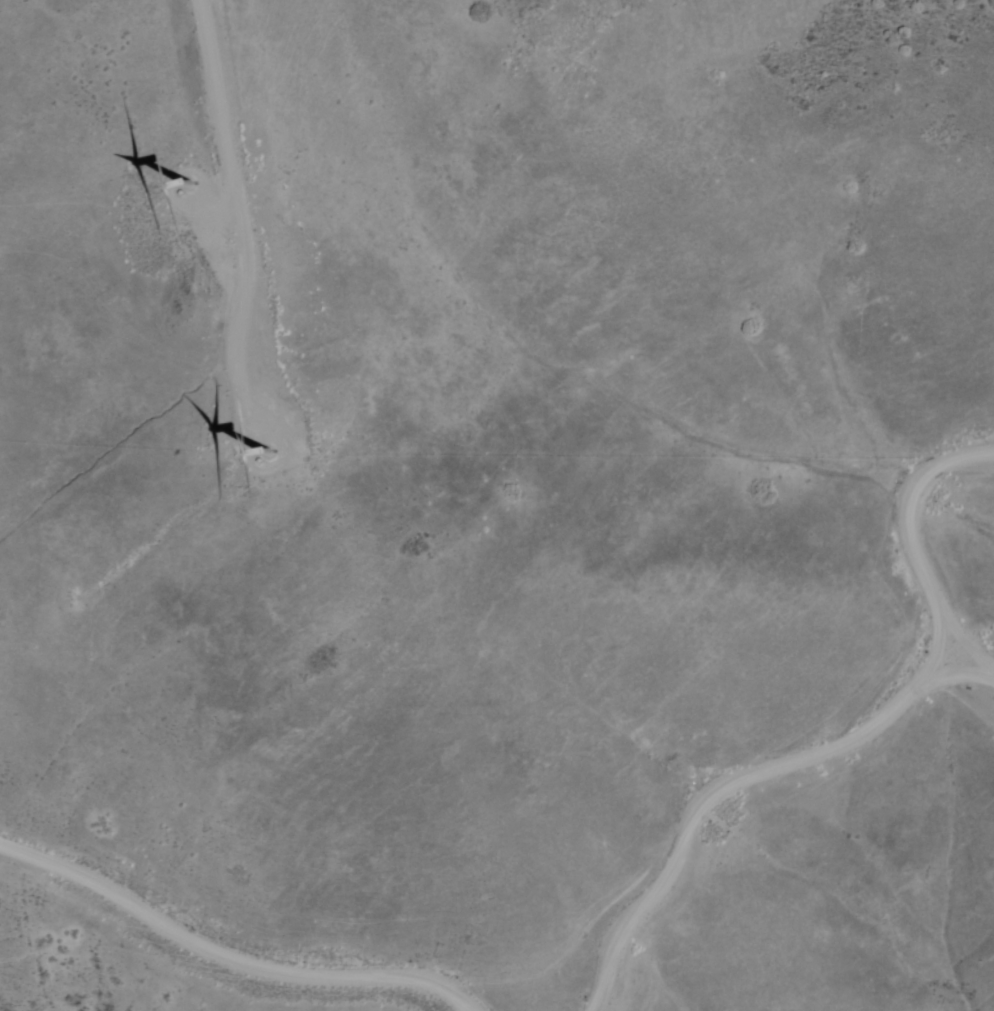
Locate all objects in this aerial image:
wind turbine: (164, 164)
wind turbine: (260, 449)
road: (914, 529)
road: (942, 640)
road: (963, 669)
road: (714, 790)
road: (147, 933)
road: (188, 934)
road: (441, 981)
road: (336, 1002)

